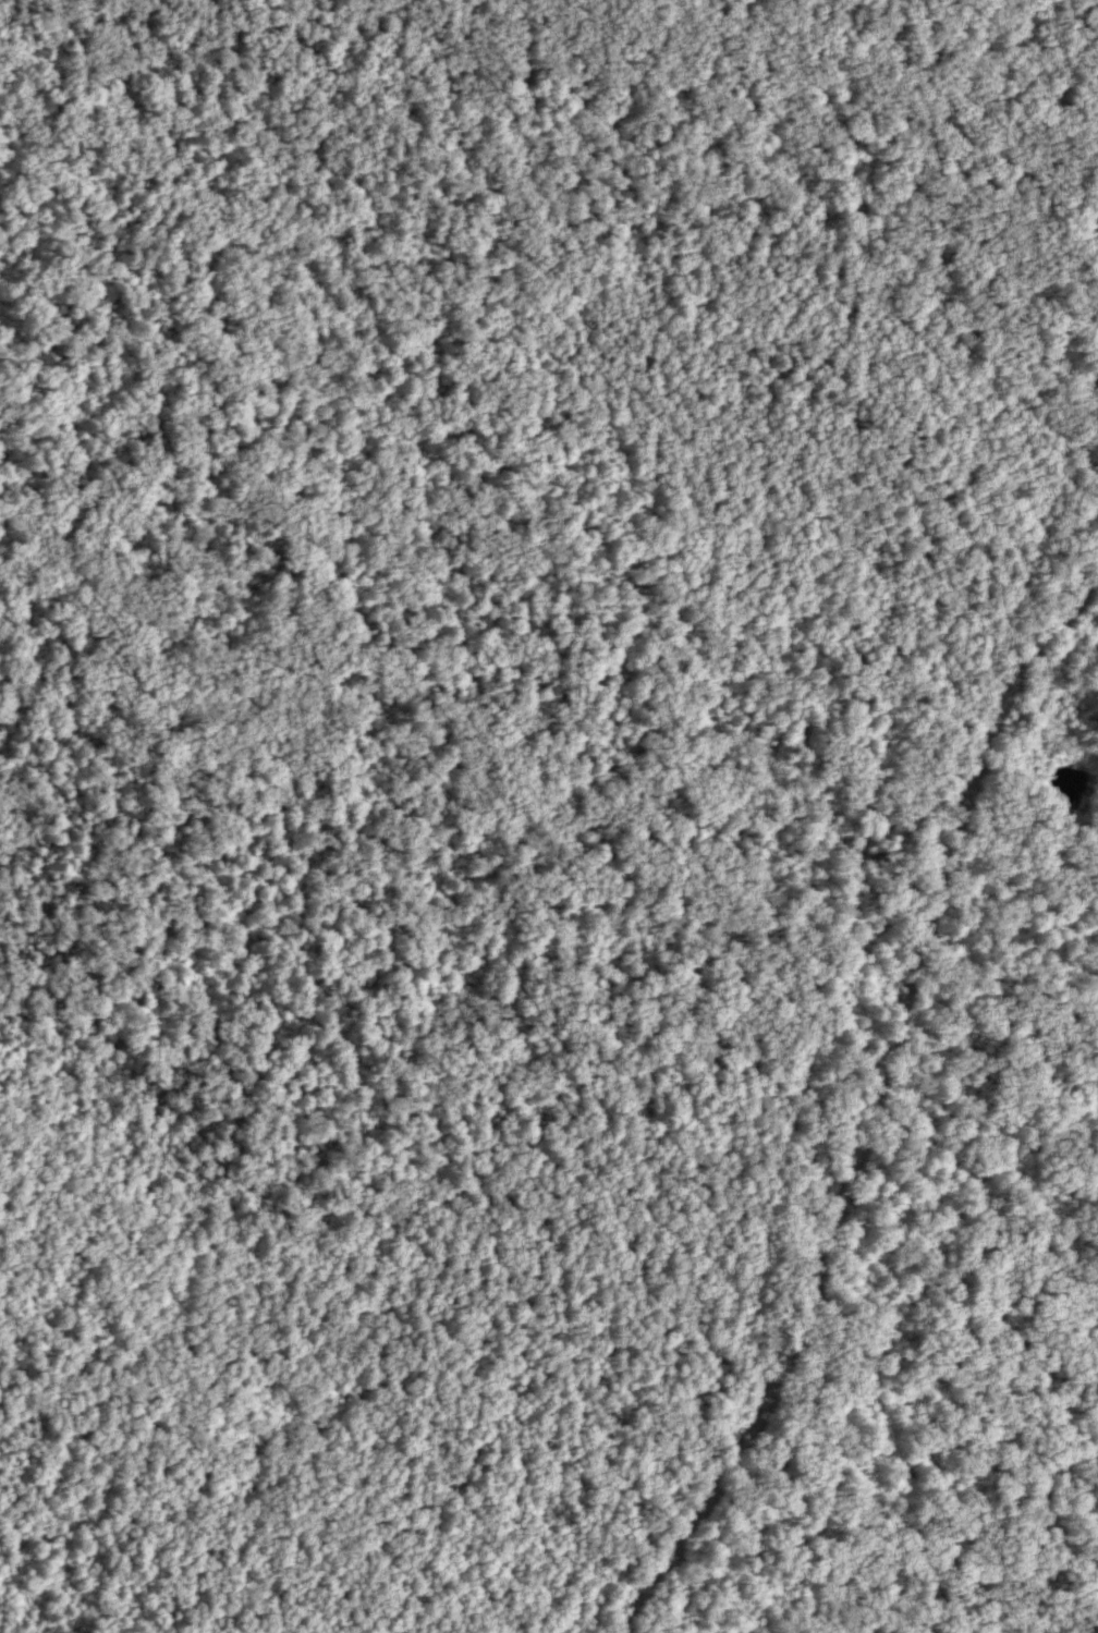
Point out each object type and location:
road: (868, 5)
road: (869, 1111)

